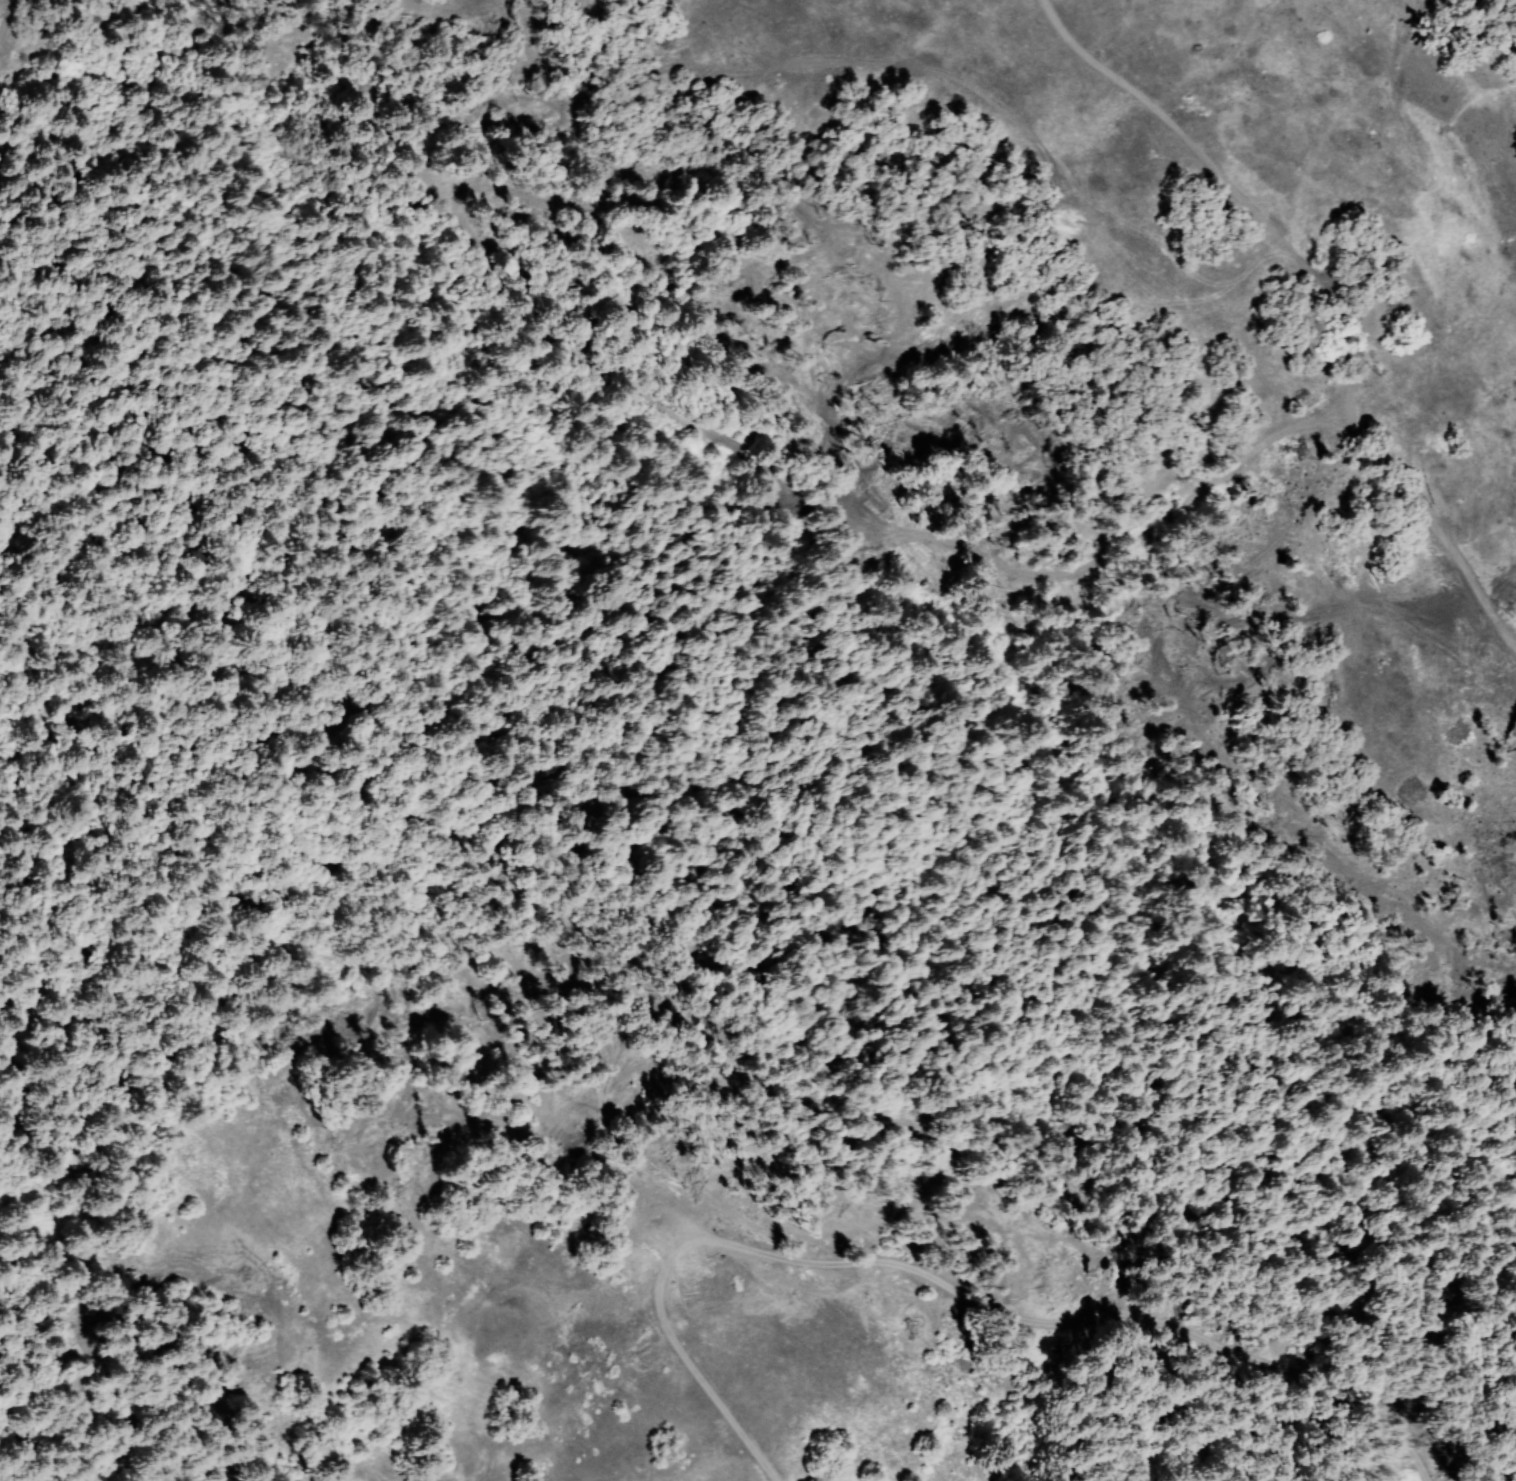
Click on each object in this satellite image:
road: (1304, 293)

